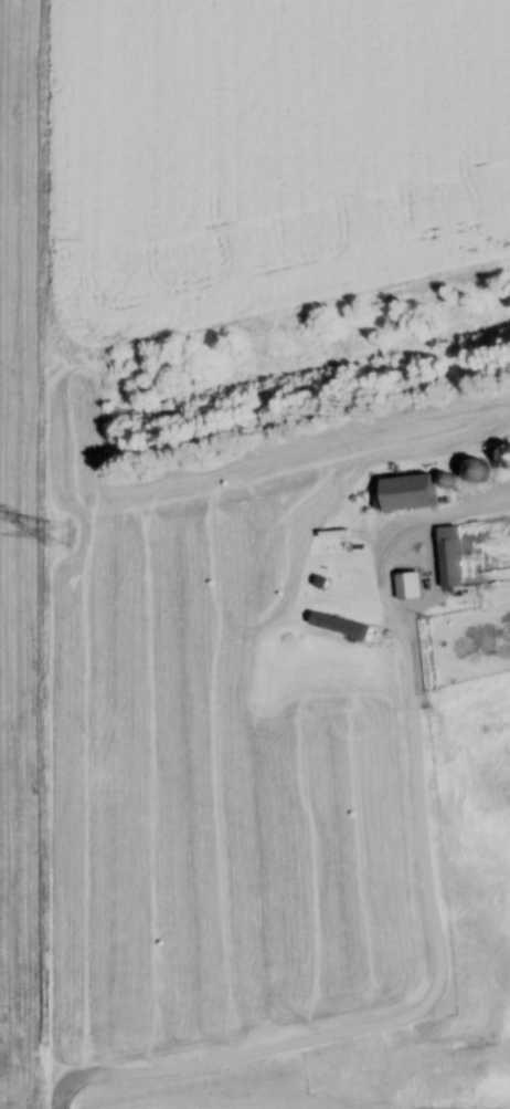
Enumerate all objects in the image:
building: (476, 472)
building: (405, 495)
power tower: (60, 537)
building: (449, 558)
building: (412, 587)

